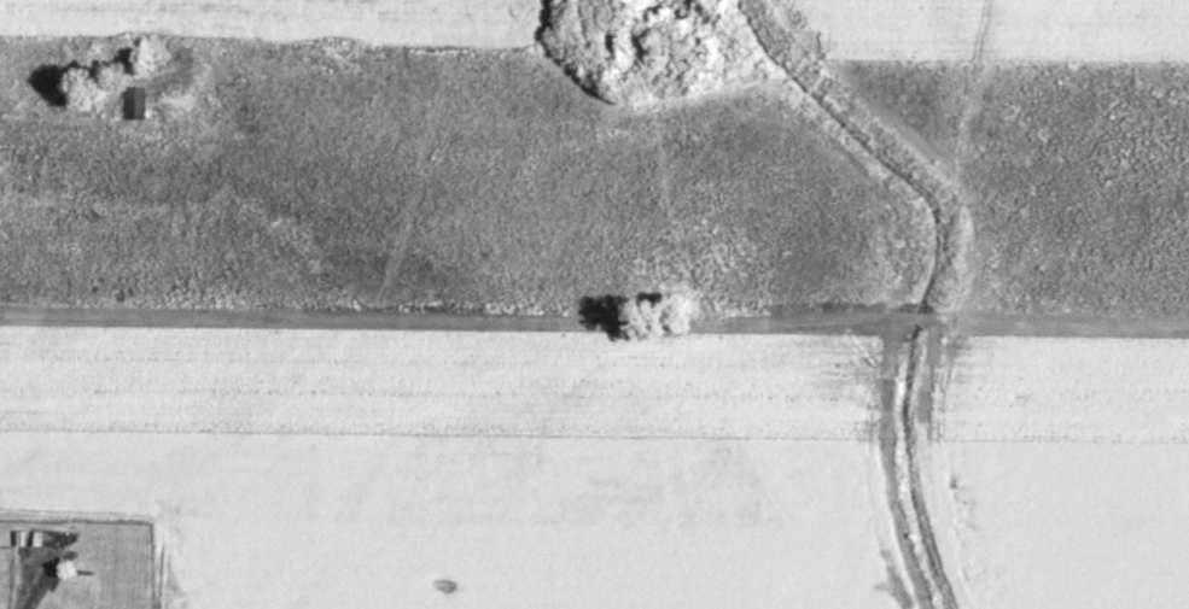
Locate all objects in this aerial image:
building: (134, 106)
building: (42, 543)

